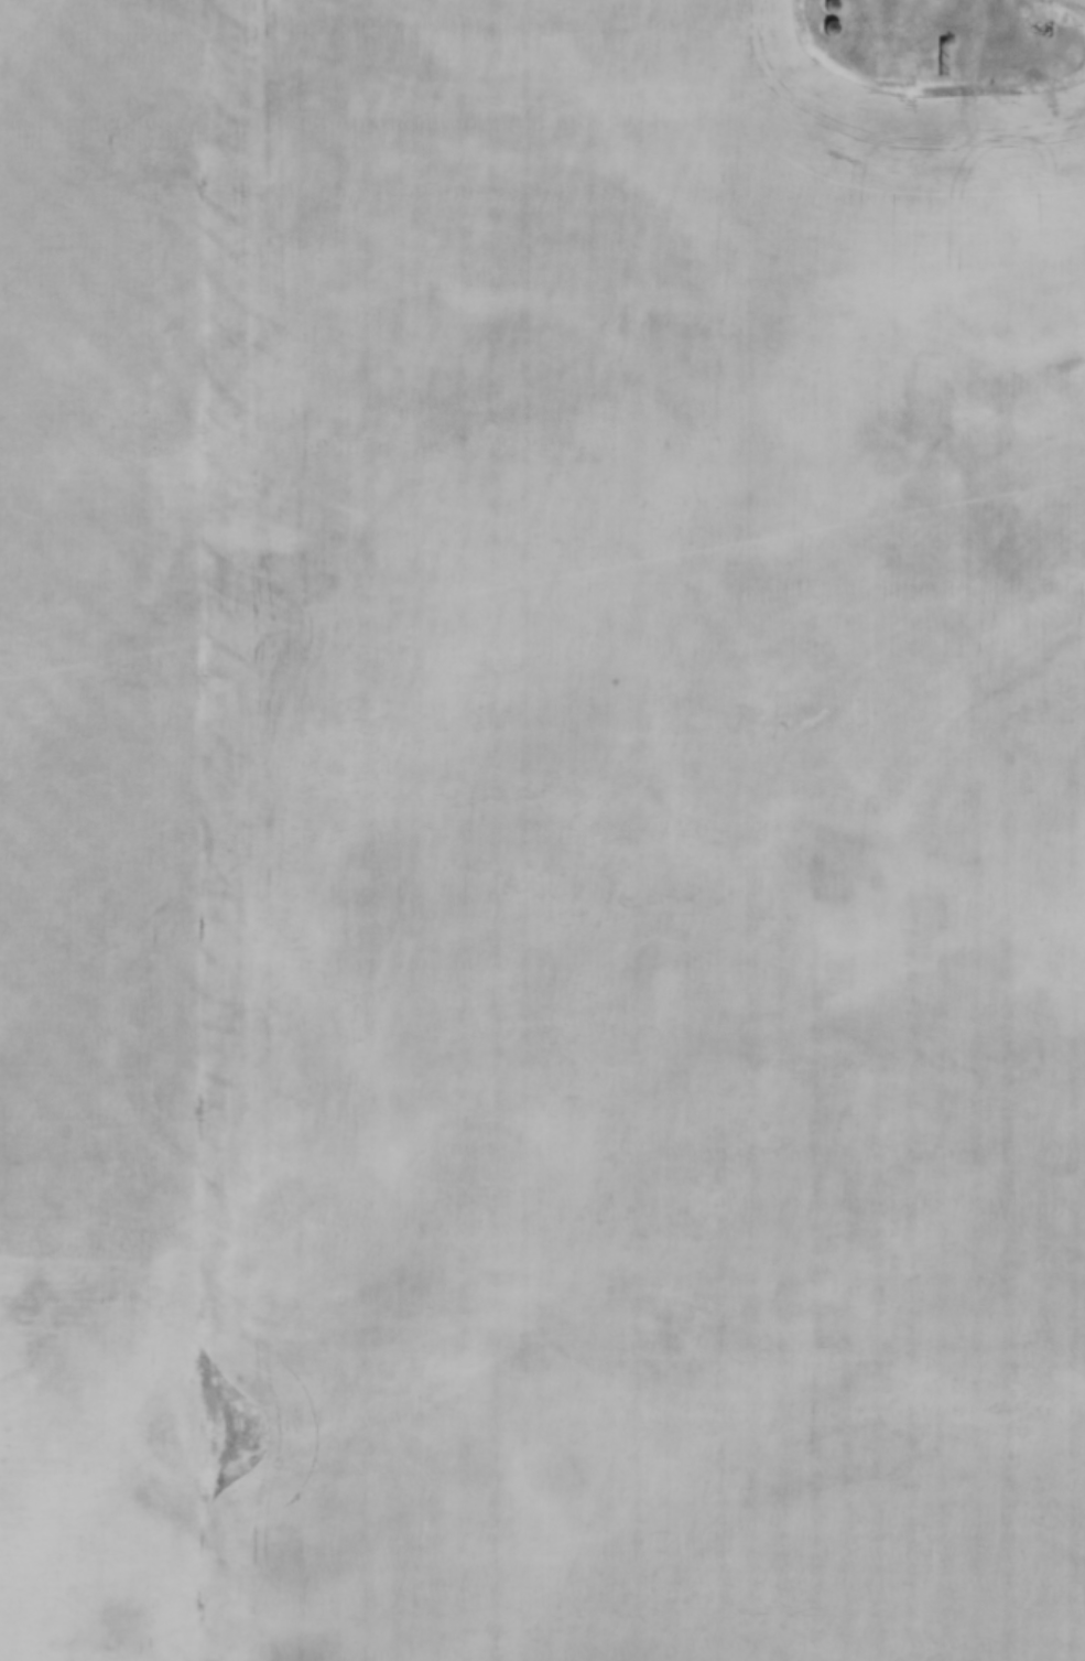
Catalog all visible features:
building: (827, 29)

